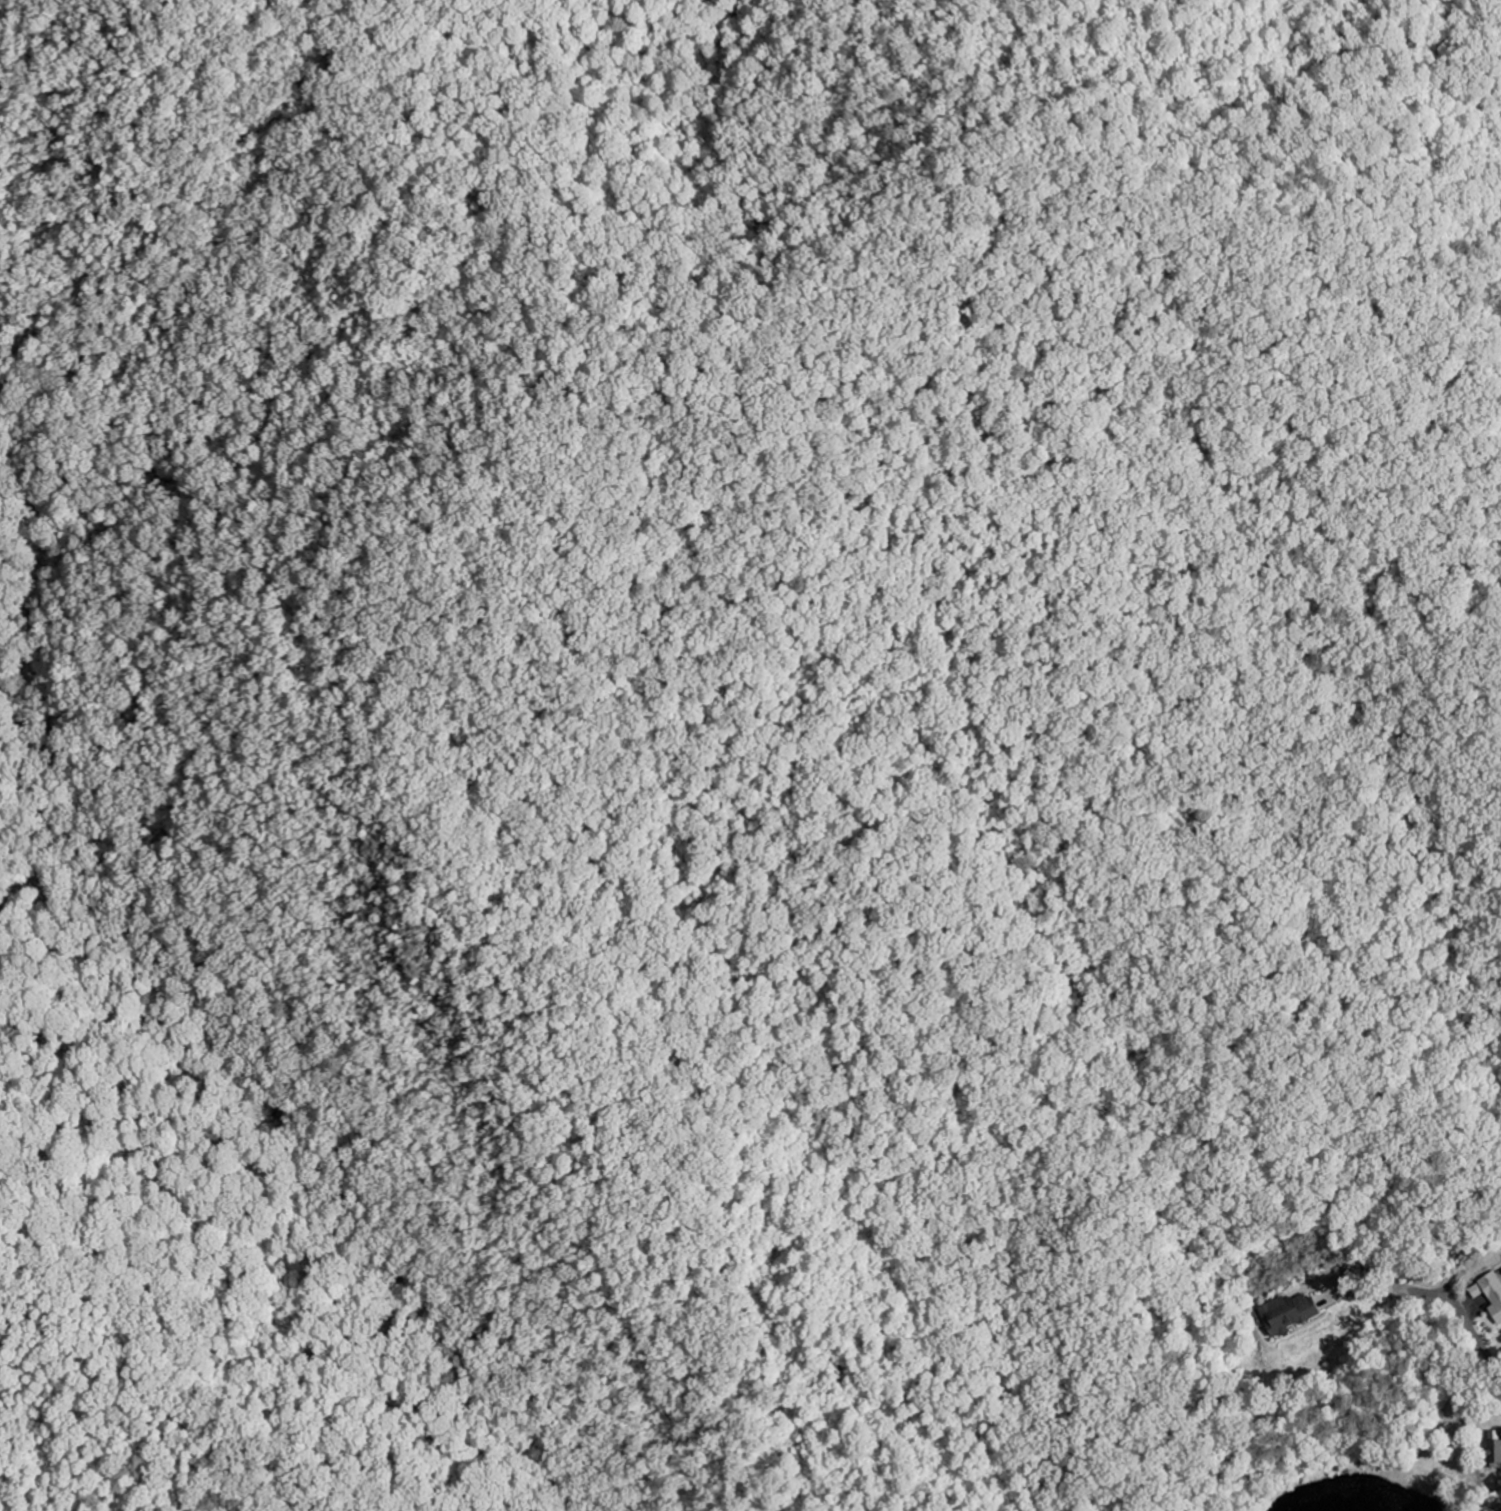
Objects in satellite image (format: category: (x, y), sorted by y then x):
building: (1489, 1291)
building: (1291, 1314)
road: (1471, 1328)
building: (1494, 1453)

